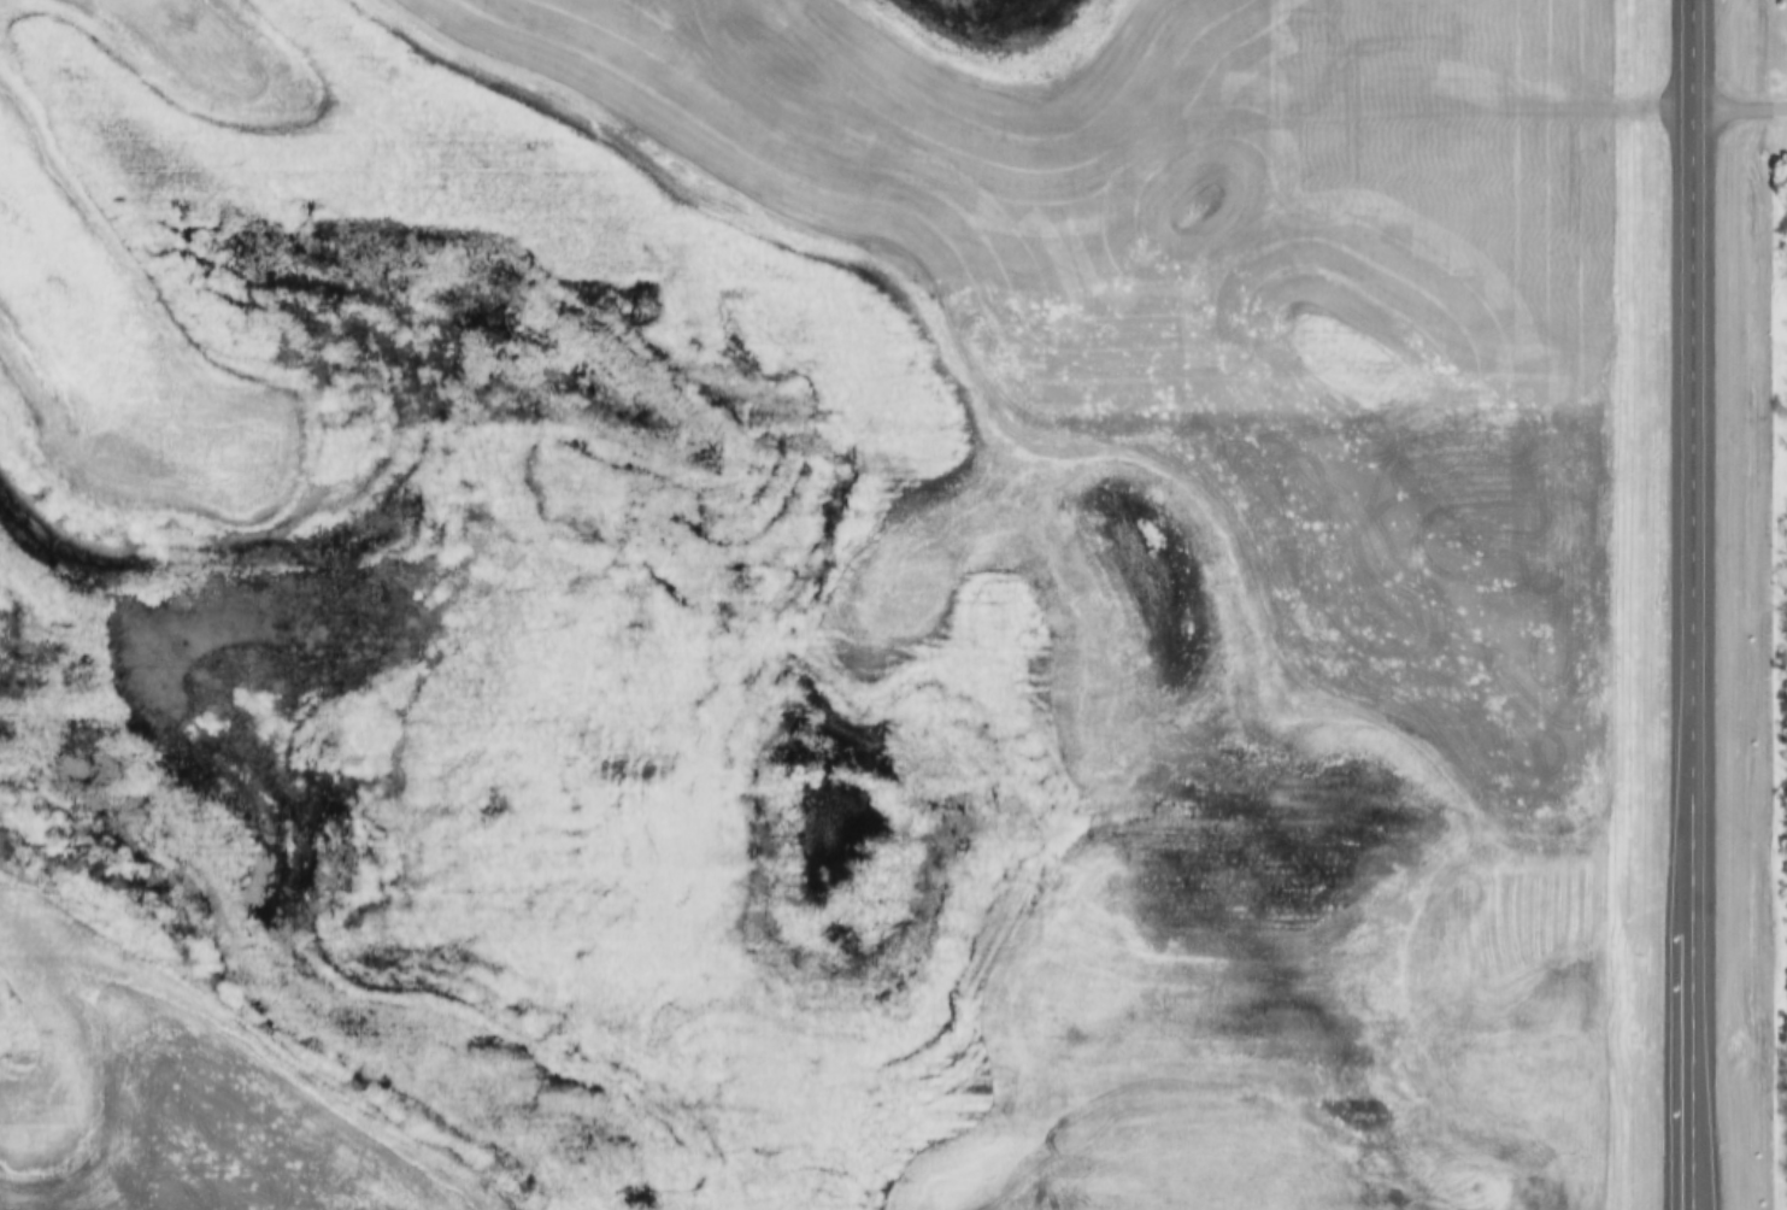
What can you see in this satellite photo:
road: (1746, 108)
road: (1706, 605)

